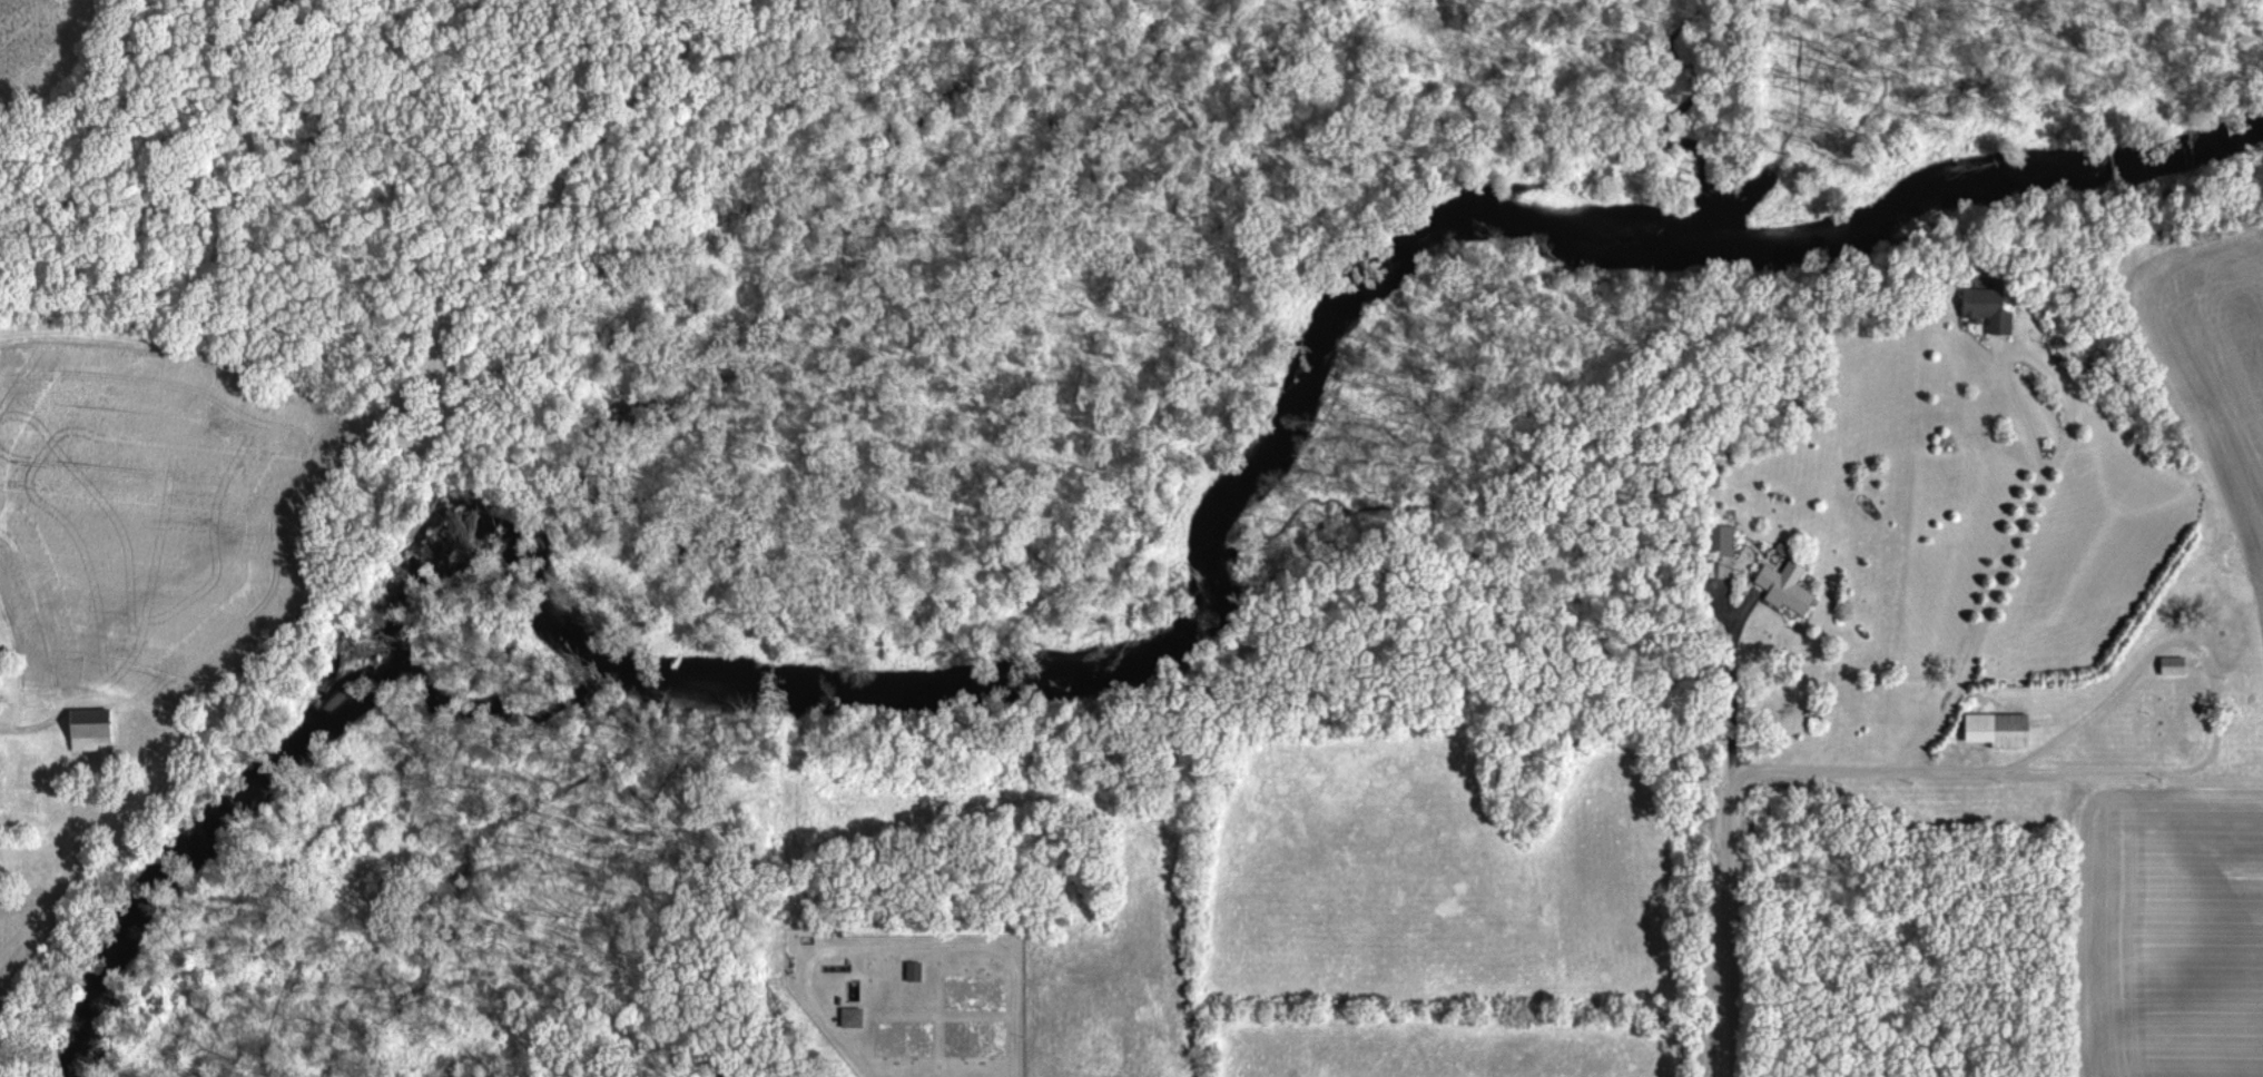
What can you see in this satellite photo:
building: (1982, 307)
road: (2041, 488)
building: (1721, 542)
building: (1783, 589)
building: (2172, 668)
road: (2141, 669)
road: (1731, 692)
building: (98, 731)
building: (1996, 732)
road: (1838, 769)
building: (919, 972)
building: (857, 1019)

